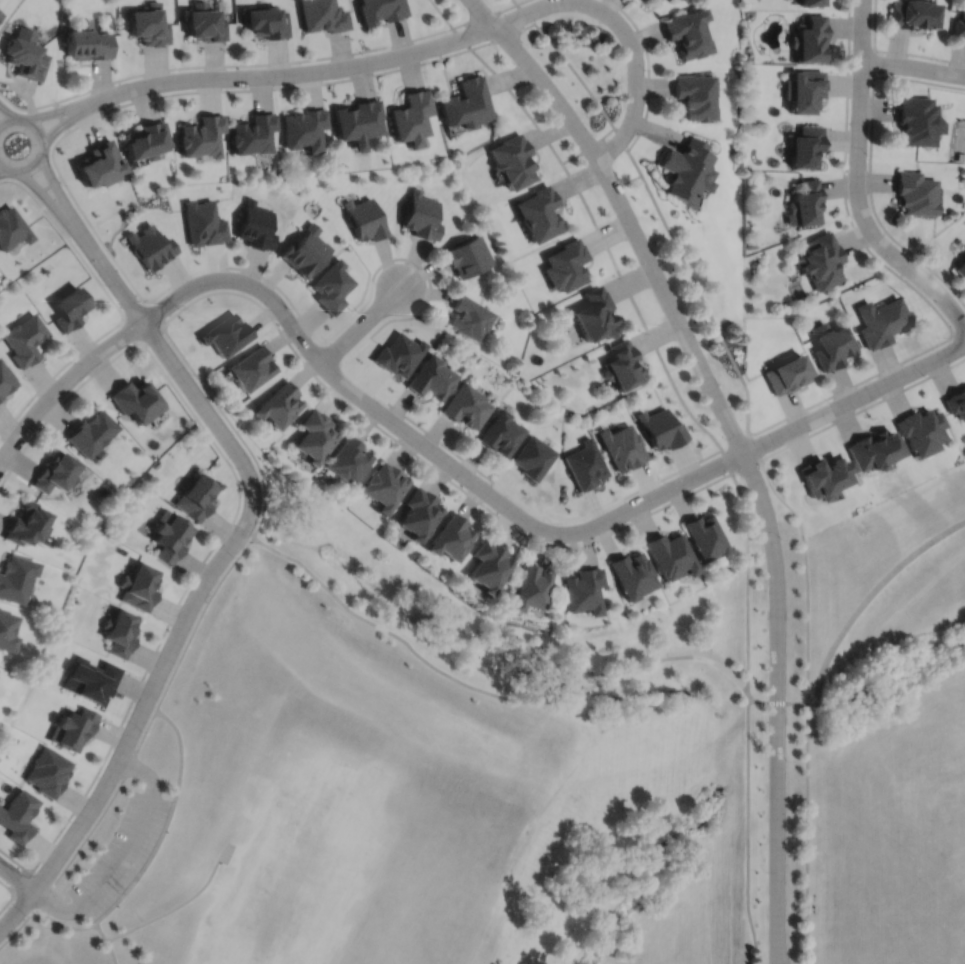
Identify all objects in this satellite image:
building: (672, 0)
building: (674, 0)
road: (515, 2)
road: (522, 2)
building: (810, 3)
building: (381, 11)
road: (441, 14)
road: (525, 14)
building: (911, 15)
building: (323, 16)
road: (485, 16)
building: (203, 24)
building: (267, 24)
building: (148, 26)
building: (959, 26)
road: (624, 32)
building: (686, 34)
road: (502, 37)
road: (460, 38)
building: (809, 41)
building: (86, 44)
road: (894, 52)
building: (24, 60)
road: (874, 64)
road: (222, 65)
road: (913, 67)
road: (648, 70)
road: (306, 72)
road: (576, 74)
building: (804, 92)
building: (694, 97)
road: (518, 103)
building: (465, 105)
road: (70, 106)
road: (8, 111)
road: (61, 117)
road: (75, 117)
building: (411, 119)
building: (916, 120)
building: (358, 123)
building: (304, 130)
building: (252, 136)
building: (200, 138)
road: (621, 139)
building: (145, 142)
road: (43, 143)
building: (806, 146)
road: (589, 147)
building: (960, 157)
building: (512, 161)
road: (870, 164)
building: (97, 166)
road: (4, 169)
building: (684, 169)
road: (857, 183)
road: (844, 184)
road: (46, 185)
road: (57, 189)
building: (916, 192)
road: (46, 196)
building: (806, 201)
building: (539, 212)
building: (422, 214)
road: (625, 214)
building: (365, 217)
road: (87, 219)
building: (204, 222)
building: (256, 224)
building: (11, 226)
building: (150, 245)
building: (306, 249)
building: (469, 255)
building: (821, 262)
building: (566, 264)
building: (961, 268)
building: (332, 285)
road: (698, 290)
building: (70, 306)
road: (636, 309)
road: (121, 311)
building: (593, 314)
building: (470, 316)
building: (882, 320)
road: (361, 324)
road: (161, 325)
road: (960, 331)
building: (25, 337)
building: (832, 345)
building: (620, 364)
building: (252, 367)
road: (177, 368)
building: (787, 372)
building: (434, 377)
building: (6, 378)
road: (63, 383)
road: (855, 384)
road: (854, 399)
building: (134, 400)
building: (956, 402)
building: (279, 404)
building: (468, 405)
road: (862, 409)
road: (233, 425)
building: (660, 428)
building: (922, 430)
building: (90, 431)
building: (502, 433)
building: (316, 435)
road: (442, 442)
road: (734, 442)
road: (426, 446)
building: (621, 447)
road: (753, 447)
building: (874, 450)
building: (348, 460)
road: (726, 460)
road: (744, 465)
building: (56, 471)
road: (672, 473)
building: (824, 476)
building: (385, 486)
building: (196, 497)
road: (484, 506)
building: (419, 513)
building: (27, 524)
road: (224, 532)
building: (170, 535)
building: (703, 536)
building: (451, 538)
building: (667, 555)
building: (489, 566)
road: (806, 573)
building: (628, 574)
building: (16, 577)
road: (747, 580)
building: (138, 587)
building: (530, 588)
building: (580, 591)
road: (863, 604)
road: (197, 620)
building: (7, 631)
building: (120, 633)
road: (400, 638)
road: (663, 656)
road: (564, 677)
building: (91, 679)
road: (777, 680)
road: (775, 701)
road: (811, 702)
building: (73, 727)
road: (132, 729)
park: (882, 731)
building: (48, 769)
park: (417, 779)
building: (18, 814)
road: (165, 823)
road: (747, 828)
road: (807, 833)
road: (87, 834)
parking lot: (121, 854)
road: (123, 854)
park: (297, 864)
park: (296, 869)
road: (16, 877)
road: (21, 882)
road: (13, 893)
road: (178, 904)
road: (51, 918)
road: (775, 938)
road: (780, 939)
road: (107, 942)

